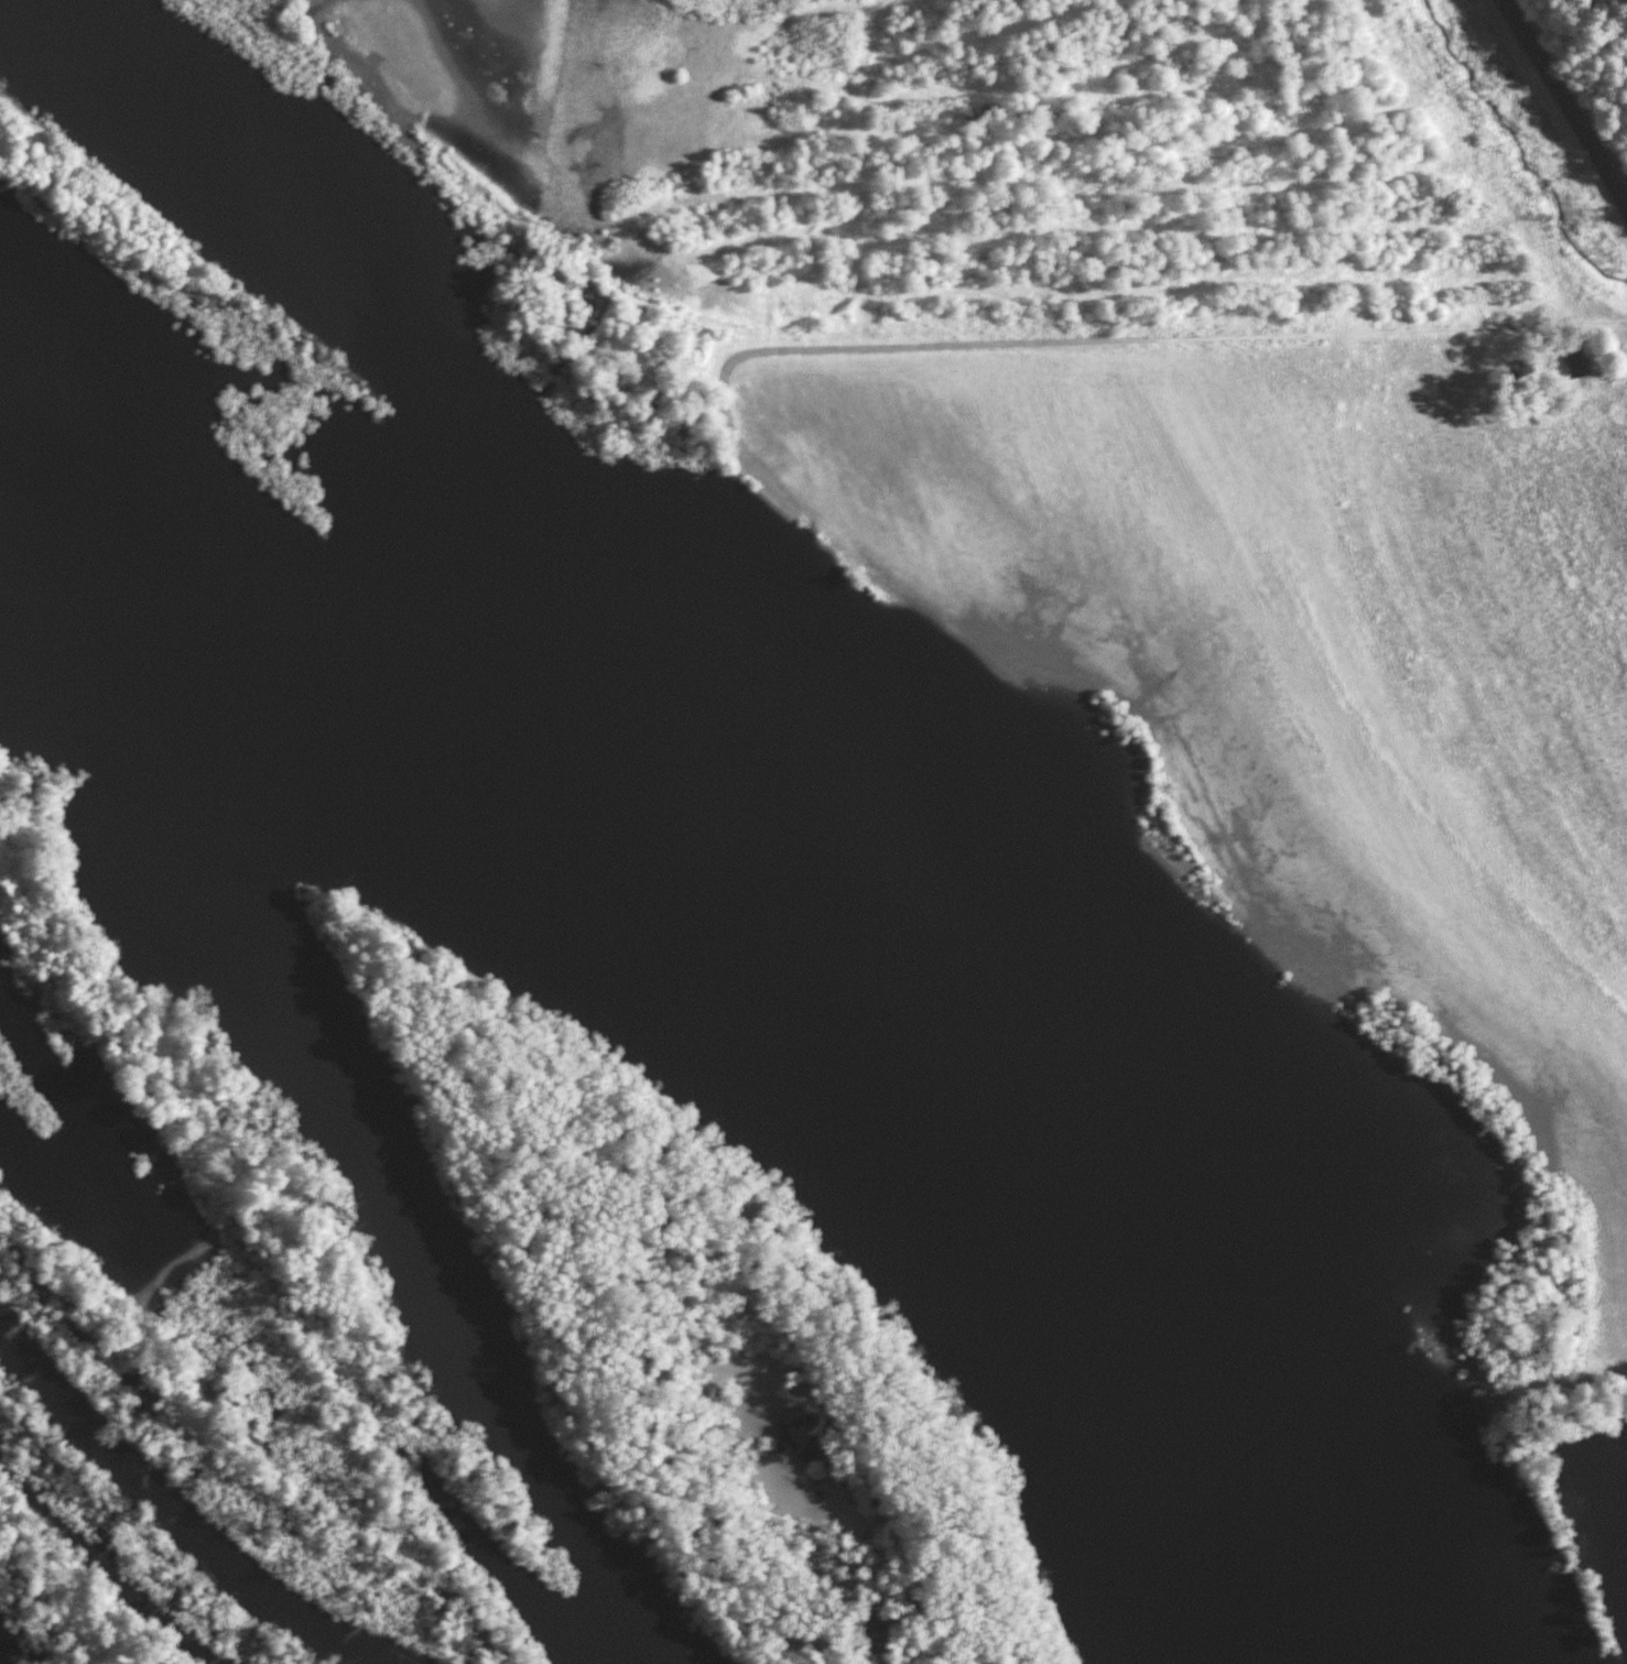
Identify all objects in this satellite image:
road: (1566, 102)
building: (1576, 362)
building: (1522, 367)

